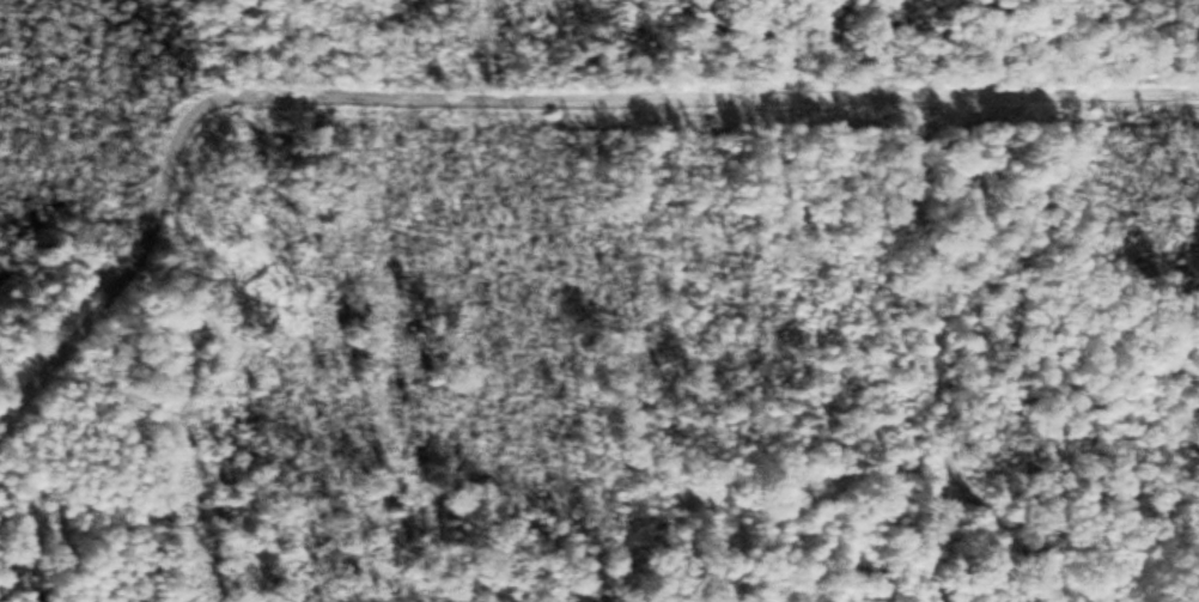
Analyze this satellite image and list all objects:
road: (493, 44)

